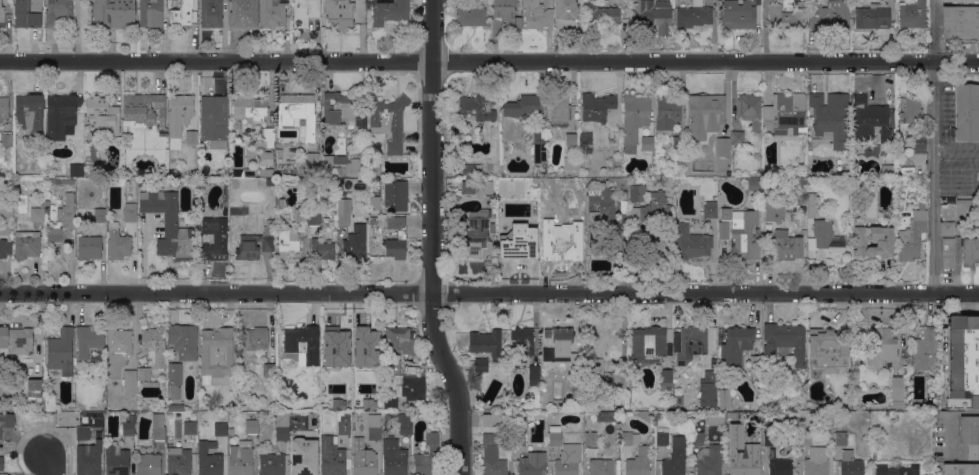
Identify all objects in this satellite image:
building: (961, 0)
building: (389, 11)
building: (58, 12)
building: (304, 12)
building: (28, 13)
building: (211, 13)
building: (507, 13)
building: (739, 13)
building: (113, 14)
building: (151, 14)
building: (183, 14)
building: (243, 14)
building: (272, 14)
building: (339, 14)
building: (566, 14)
building: (912, 14)
building: (470, 15)
building: (602, 15)
building: (653, 15)
building: (693, 15)
building: (830, 15)
building: (2, 16)
building: (537, 16)
building: (787, 16)
building: (875, 16)
building: (960, 23)
road: (489, 60)
building: (62, 106)
building: (521, 106)
building: (597, 106)
building: (250, 107)
building: (338, 107)
building: (144, 108)
building: (4, 109)
building: (749, 109)
building: (474, 110)
building: (559, 110)
building: (909, 111)
building: (30, 112)
building: (667, 112)
building: (967, 112)
building: (103, 114)
building: (298, 114)
building: (707, 114)
building: (785, 114)
building: (179, 117)
building: (830, 117)
building: (634, 118)
building: (214, 120)
building: (361, 120)
building: (869, 120)
building: (389, 121)
building: (161, 133)
building: (90, 134)
building: (77, 135)
building: (268, 135)
building: (192, 137)
building: (586, 138)
building: (6, 139)
building: (571, 139)
building: (737, 139)
building: (647, 143)
building: (919, 143)
building: (678, 144)
road: (933, 145)
building: (538, 146)
building: (722, 147)
building: (588, 150)
building: (900, 152)
building: (279, 153)
building: (266, 158)
building: (171, 159)
building: (311, 160)
building: (570, 161)
building: (679, 164)
building: (345, 165)
building: (374, 170)
building: (472, 170)
building: (904, 170)
building: (245, 172)
building: (266, 172)
building: (192, 173)
building: (977, 175)
building: (68, 180)
building: (52, 181)
building: (143, 181)
building: (270, 181)
building: (302, 181)
building: (345, 182)
building: (620, 182)
building: (858, 182)
building: (335, 184)
building: (338, 184)
building: (753, 185)
building: (467, 186)
building: (488, 187)
building: (637, 192)
building: (395, 194)
building: (803, 198)
building: (280, 201)
building: (375, 202)
building: (310, 204)
building: (811, 204)
building: (601, 205)
building: (655, 208)
building: (967, 208)
building: (549, 209)
building: (710, 209)
building: (774, 209)
building: (239, 210)
building: (67, 211)
building: (344, 211)
building: (130, 212)
building: (300, 213)
building: (726, 213)
building: (37, 214)
building: (99, 214)
building: (793, 217)
building: (314, 218)
building: (373, 220)
building: (168, 222)
building: (271, 224)
building: (51, 227)
building: (947, 228)
building: (723, 230)
building: (803, 231)
building: (401, 234)
building: (912, 234)
building: (477, 235)
building: (746, 237)
building: (214, 238)
road: (433, 239)
building: (827, 240)
building: (872, 240)
building: (118, 242)
building: (288, 242)
building: (355, 242)
building: (690, 242)
building: (563, 243)
building: (27, 244)
building: (519, 245)
building: (786, 245)
building: (252, 246)
building: (89, 247)
building: (5, 248)
building: (322, 249)
building: (970, 251)
building: (947, 253)
road: (489, 291)
building: (256, 338)
building: (16, 339)
building: (88, 340)
building: (120, 340)
building: (184, 340)
building: (399, 340)
building: (784, 341)
building: (486, 343)
building: (522, 343)
building: (691, 343)
building: (303, 344)
building: (648, 344)
building: (735, 344)
building: (154, 345)
building: (559, 345)
building: (346, 346)
building: (365, 346)
building: (884, 348)
building: (60, 350)
building: (828, 351)
building: (926, 351)
building: (216, 353)
building: (964, 358)
building: (393, 364)
building: (480, 364)
building: (755, 365)
building: (269, 369)
building: (594, 369)
building: (143, 373)
building: (534, 375)
building: (666, 378)
building: (174, 379)
building: (619, 380)
building: (130, 382)
building: (150, 384)
building: (413, 388)
building: (34, 389)
building: (707, 389)
building: (897, 391)
building: (724, 398)
building: (626, 399)
building: (579, 401)
building: (50, 402)
building: (361, 403)
building: (390, 403)
building: (535, 405)
building: (176, 407)
building: (589, 407)
building: (606, 416)
building: (730, 416)
building: (714, 419)
building: (6, 420)
road: (949, 421)
building: (344, 424)
building: (405, 424)
building: (128, 426)
building: (158, 426)
building: (186, 426)
building: (251, 426)
building: (282, 426)
building: (374, 427)
building: (220, 428)
building: (83, 433)
building: (555, 436)
building: (488, 437)
building: (628, 437)
building: (969, 437)
building: (590, 438)
building: (662, 438)
building: (698, 438)
building: (732, 438)
building: (773, 438)
building: (804, 438)
building: (841, 438)
building: (519, 439)
building: (427, 455)
building: (304, 456)
building: (331, 457)
building: (393, 457)
building: (675, 457)
building: (208, 459)
building: (88, 460)
building: (116, 460)
building: (567, 460)
building: (709, 460)
building: (178, 461)
building: (816, 461)
building: (241, 462)
building: (639, 462)
building: (747, 462)
building: (1, 463)
building: (364, 463)
building: (493, 463)
building: (850, 463)
road: (48, 464)
building: (148, 464)
building: (271, 464)
building: (533, 464)
building: (779, 465)
building: (601, 467)
building: (896, 469)
building: (960, 469)
building: (3, 474)

